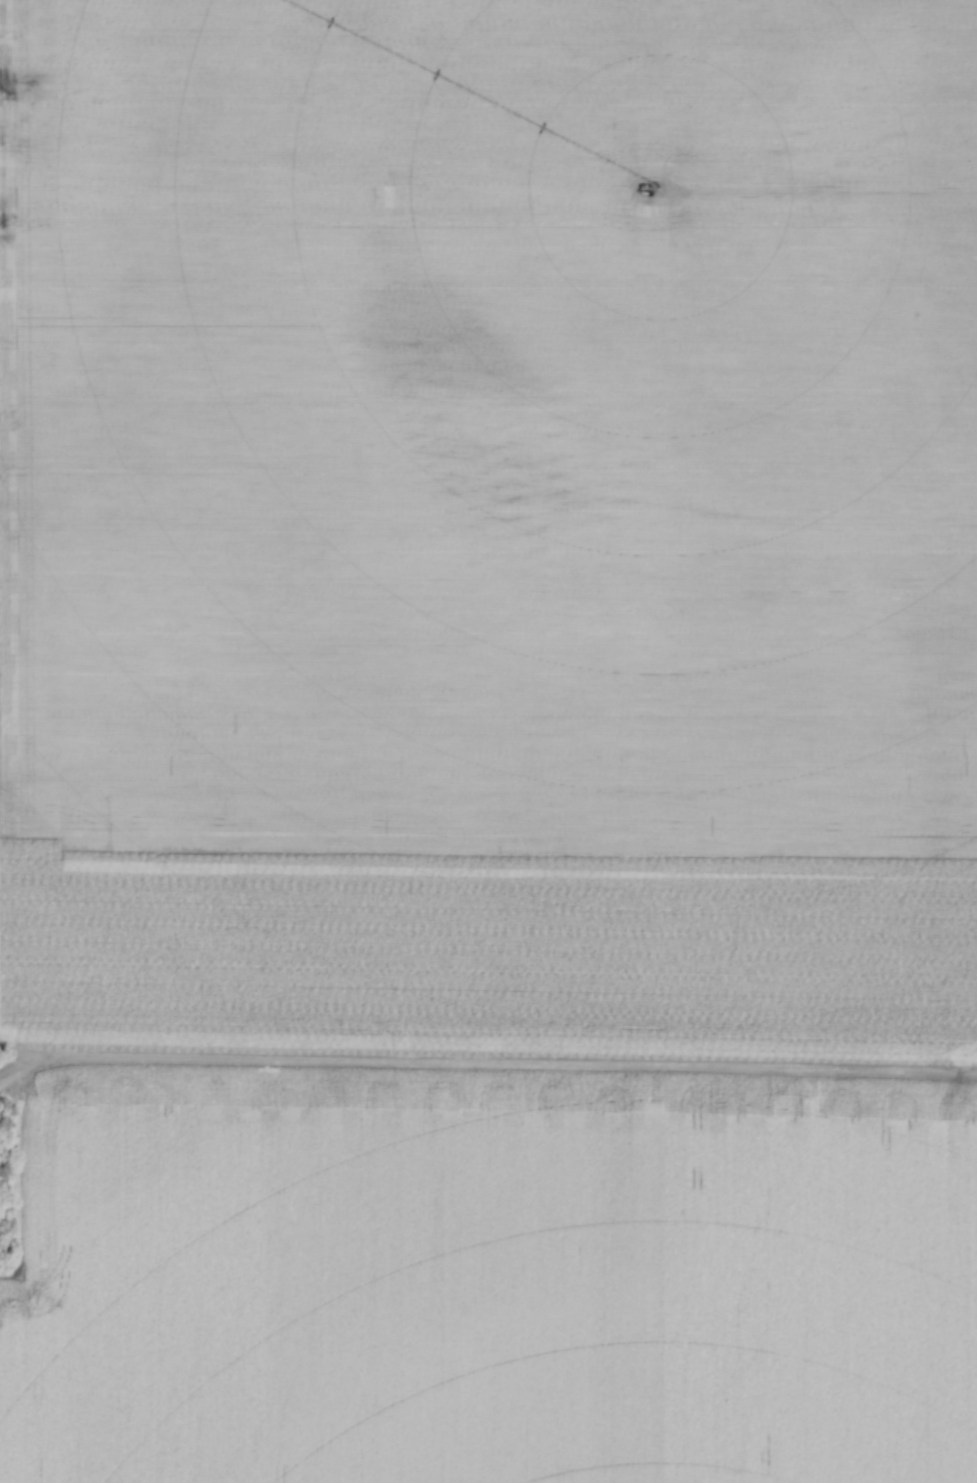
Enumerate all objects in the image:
road: (488, 1072)
park: (1, 1139)

